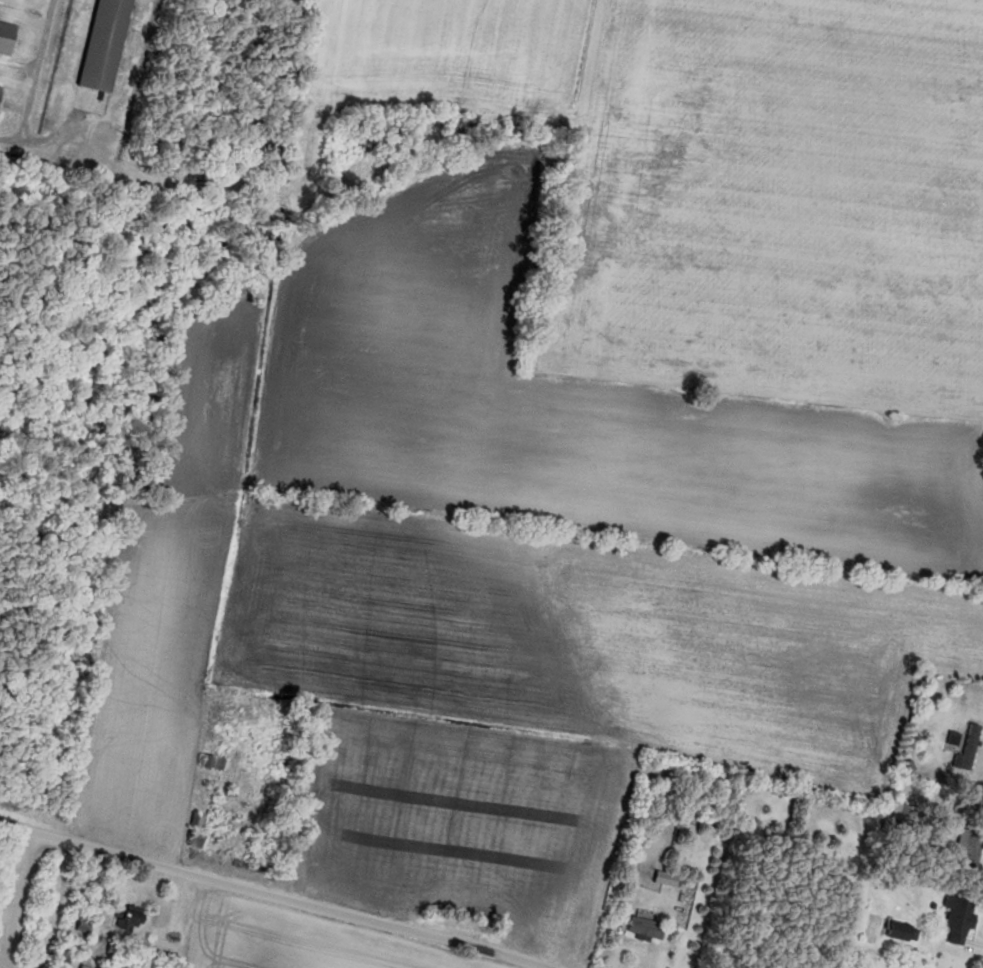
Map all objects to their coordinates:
building: (5, 34)
building: (99, 45)
building: (964, 751)
building: (208, 763)
building: (194, 820)
building: (190, 841)
building: (963, 849)
road: (271, 894)
building: (127, 920)
building: (954, 920)
building: (640, 928)
building: (896, 931)
building: (81, 967)

